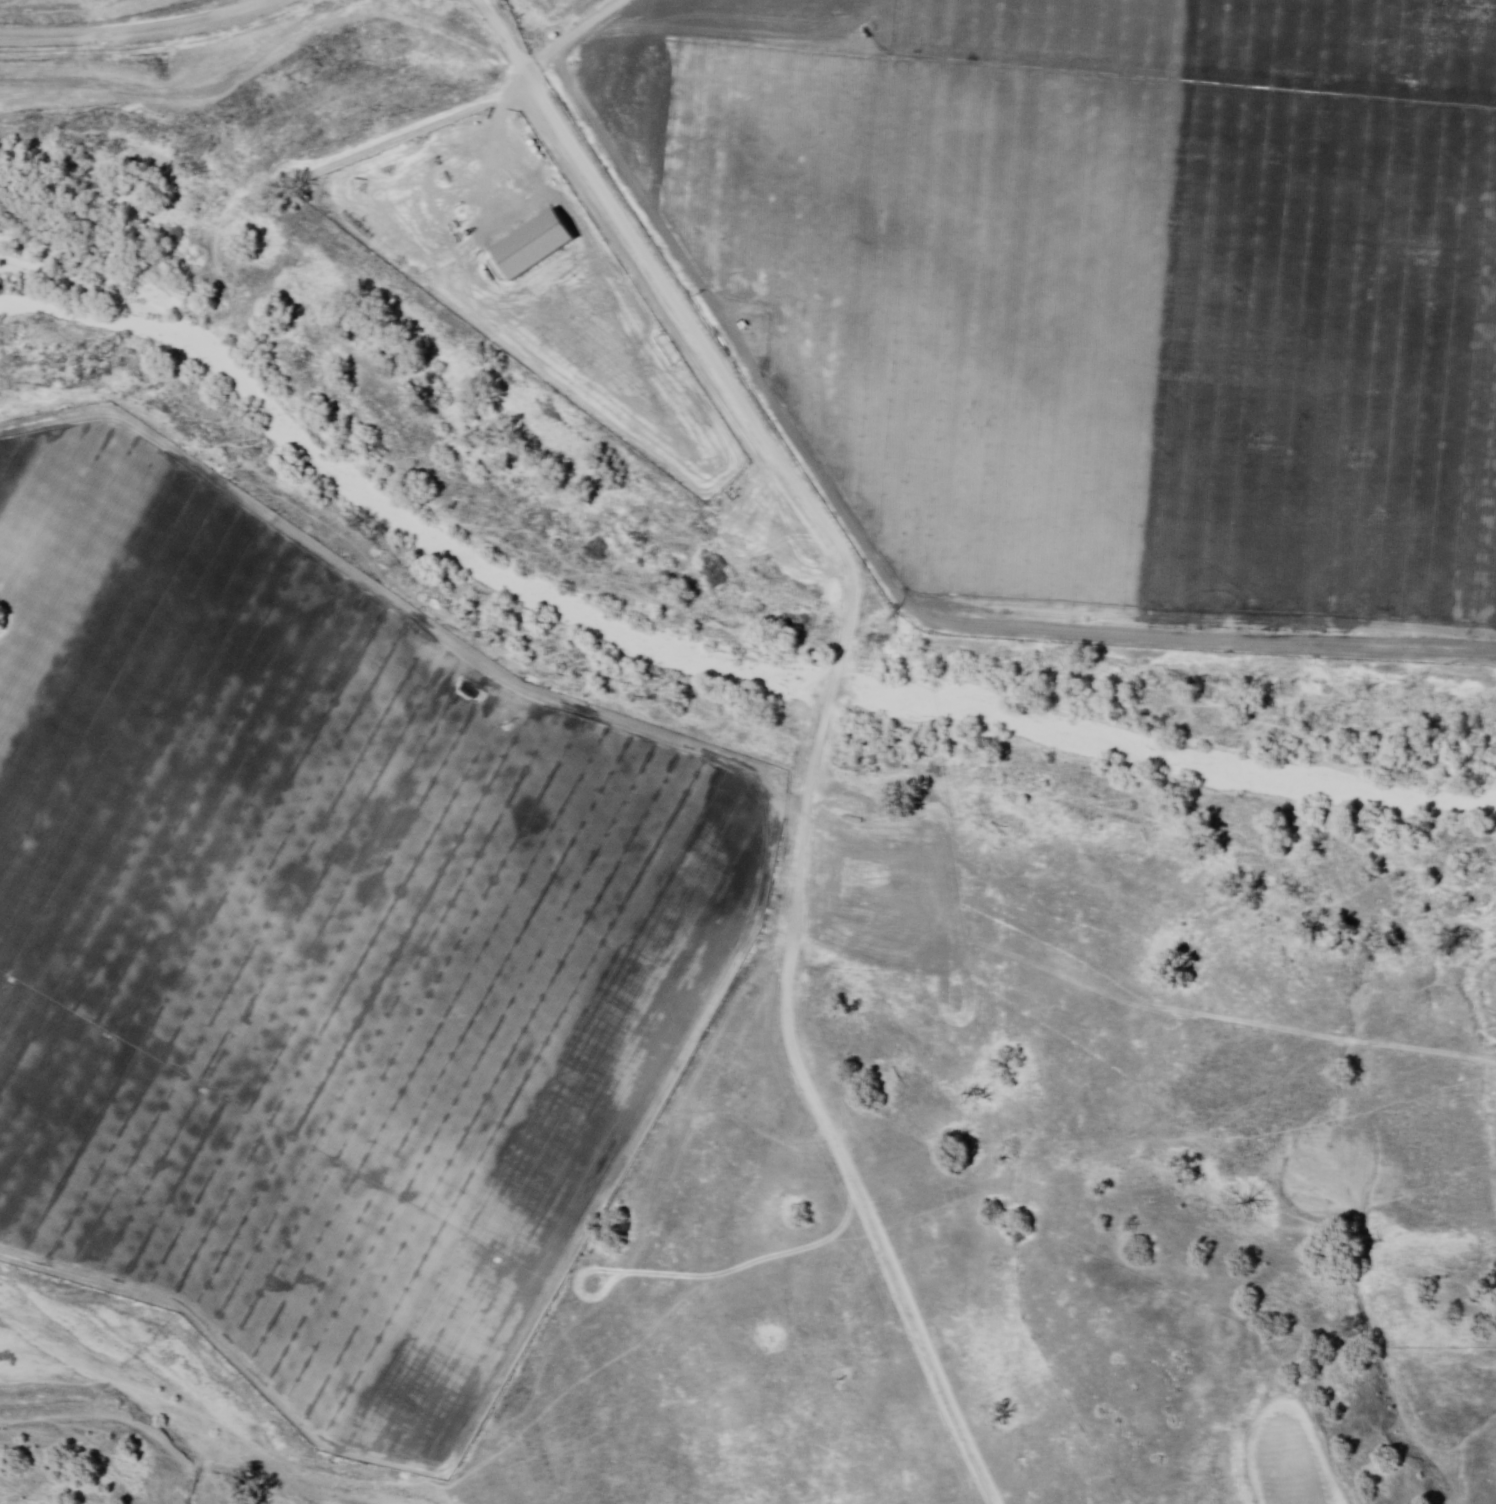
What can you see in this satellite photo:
road: (145, 36)
building: (536, 247)
crop: (1109, 291)
river: (652, 660)
road: (826, 719)
road: (1286, 1405)

